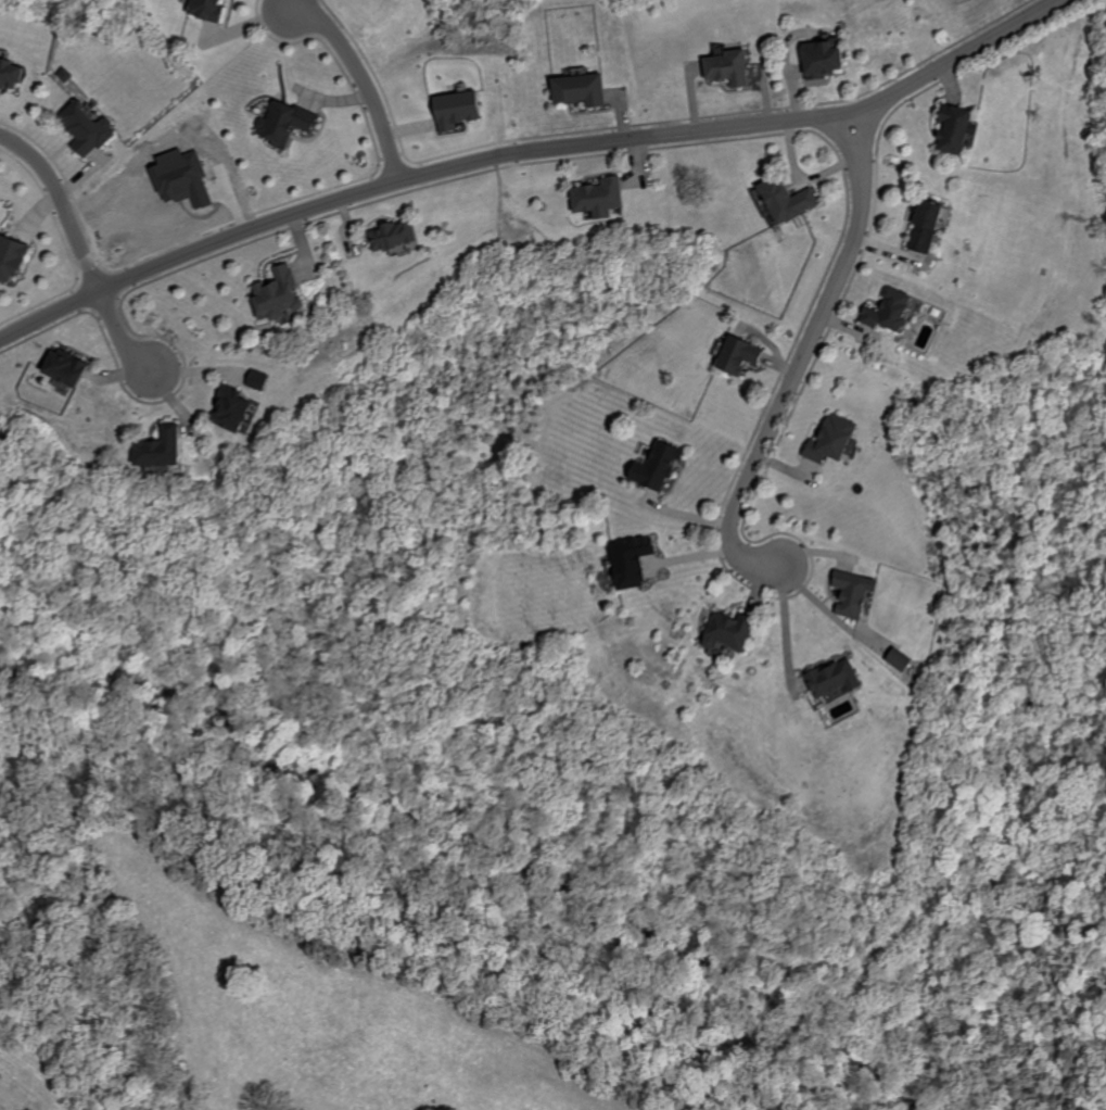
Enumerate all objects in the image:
building: (204, 9)
building: (822, 58)
building: (728, 66)
building: (10, 74)
road: (365, 81)
building: (580, 88)
road: (876, 105)
building: (456, 109)
building: (283, 122)
building: (953, 127)
building: (86, 128)
road: (532, 152)
building: (598, 197)
building: (786, 200)
road: (59, 206)
building: (925, 225)
road: (246, 232)
building: (393, 235)
building: (10, 257)
building: (277, 293)
building: (888, 310)
road: (49, 316)
road: (122, 333)
building: (738, 355)
road: (803, 360)
building: (63, 367)
building: (257, 379)
building: (230, 407)
building: (831, 439)
building: (158, 447)
building: (656, 466)
road: (340, 502)
building: (630, 560)
building: (853, 592)
building: (726, 632)
building: (900, 659)
building: (834, 678)

